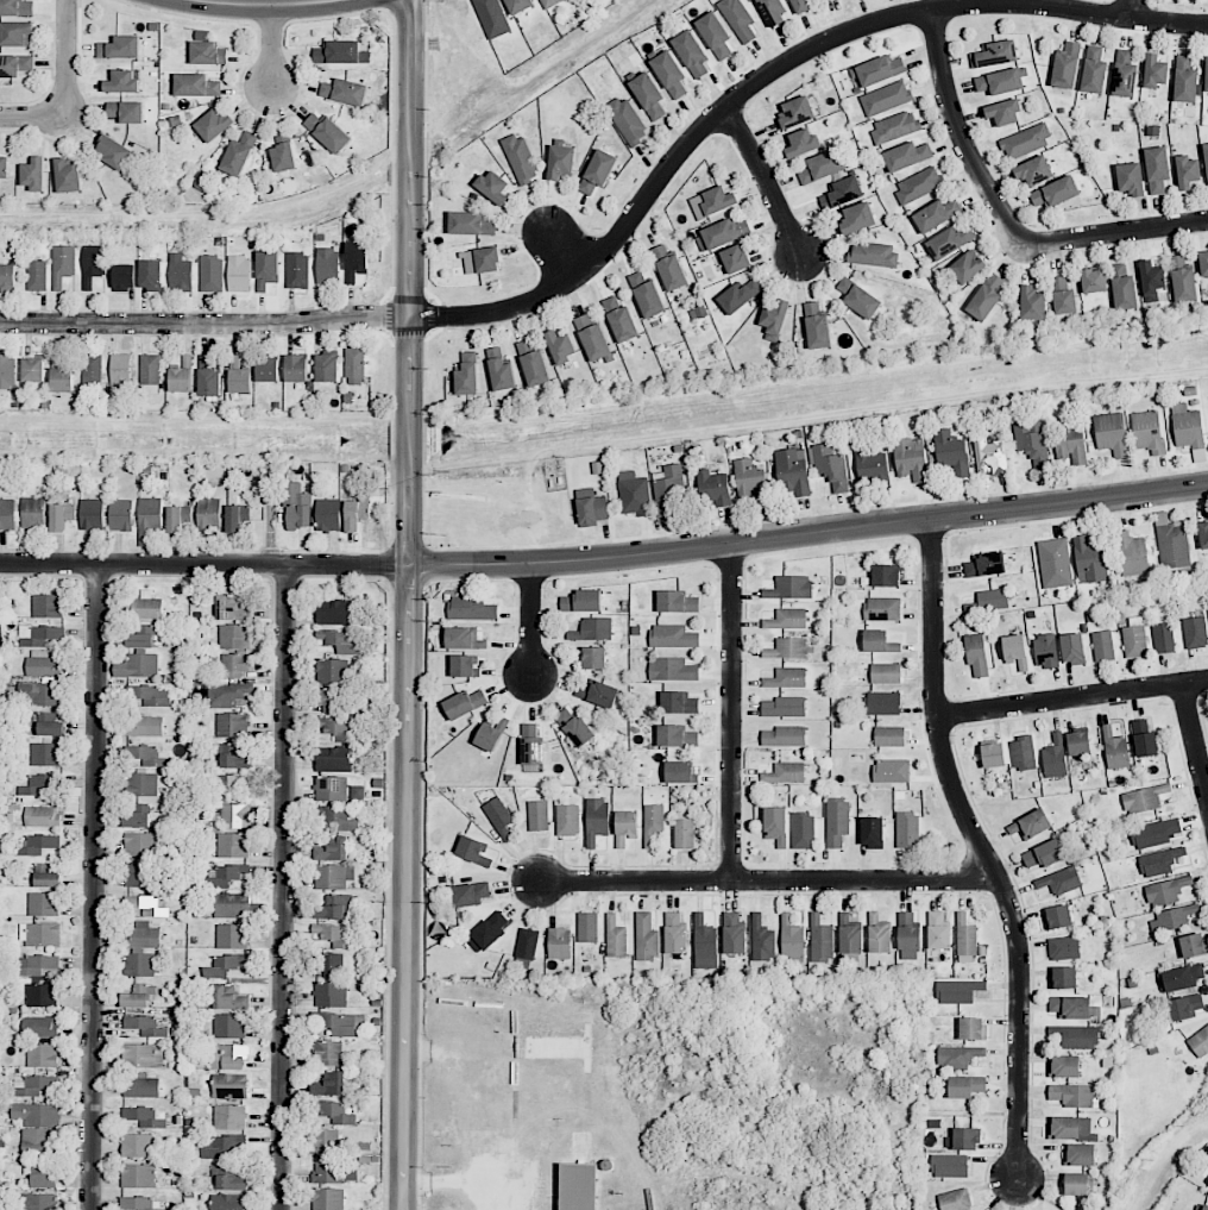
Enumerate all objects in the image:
building: (825, 0)
building: (549, 2)
road: (275, 4)
building: (518, 6)
building: (801, 6)
building: (17, 7)
road: (264, 8)
road: (1131, 10)
building: (772, 12)
building: (492, 18)
building: (738, 19)
building: (15, 33)
building: (715, 35)
building: (120, 48)
building: (207, 50)
building: (340, 52)
building: (692, 54)
building: (995, 54)
road: (273, 56)
building: (14, 65)
building: (1065, 65)
building: (880, 70)
building: (1094, 70)
building: (1154, 70)
building: (669, 74)
building: (1124, 74)
building: (1206, 74)
building: (1184, 79)
building: (122, 81)
building: (1000, 81)
building: (196, 86)
road: (68, 90)
building: (345, 92)
building: (648, 95)
building: (886, 98)
building: (126, 111)
building: (797, 112)
building: (1003, 112)
building: (627, 120)
building: (214, 125)
building: (895, 126)
building: (328, 132)
road: (964, 137)
building: (801, 142)
building: (1025, 142)
building: (113, 151)
building: (239, 153)
building: (907, 156)
building: (283, 157)
building: (521, 158)
building: (1206, 161)
building: (561, 162)
building: (820, 167)
building: (4, 168)
building: (1157, 169)
building: (1033, 170)
building: (598, 171)
building: (1187, 171)
building: (34, 174)
building: (68, 176)
road: (770, 178)
building: (1131, 178)
building: (918, 184)
building: (493, 187)
building: (843, 193)
building: (1053, 193)
building: (718, 200)
building: (931, 217)
building: (857, 218)
building: (470, 224)
road: (629, 225)
road: (1119, 233)
building: (721, 234)
building: (951, 240)
road: (564, 253)
building: (873, 253)
building: (735, 258)
building: (356, 259)
building: (480, 261)
building: (1203, 263)
building: (63, 264)
building: (93, 264)
building: (327, 264)
building: (965, 267)
building: (669, 268)
building: (266, 269)
building: (297, 270)
building: (180, 272)
building: (212, 274)
building: (239, 274)
building: (37, 275)
building: (151, 275)
building: (7, 277)
building: (125, 277)
building: (1094, 280)
building: (1151, 280)
building: (1182, 280)
building: (1122, 288)
building: (647, 294)
building: (741, 294)
building: (1064, 296)
building: (986, 297)
building: (858, 299)
building: (1032, 303)
building: (619, 319)
building: (774, 319)
building: (816, 325)
building: (593, 339)
building: (560, 346)
building: (187, 361)
building: (533, 362)
building: (354, 365)
building: (296, 368)
building: (327, 368)
building: (33, 369)
building: (92, 369)
building: (150, 369)
building: (268, 370)
building: (501, 370)
building: (7, 371)
building: (120, 374)
building: (467, 375)
building: (239, 376)
building: (180, 377)
building: (208, 378)
building: (63, 380)
building: (1187, 426)
building: (1147, 431)
building: (1112, 433)
building: (1032, 440)
building: (1069, 443)
building: (951, 452)
building: (990, 454)
building: (910, 460)
building: (831, 466)
building: (872, 466)
building: (792, 472)
building: (750, 481)
building: (713, 487)
building: (669, 491)
building: (634, 494)
building: (297, 507)
building: (591, 507)
building: (33, 512)
building: (208, 513)
building: (357, 513)
building: (7, 514)
building: (92, 514)
building: (328, 514)
building: (61, 515)
building: (120, 515)
building: (237, 516)
building: (180, 518)
building: (149, 519)
road: (810, 531)
building: (1203, 534)
building: (1174, 548)
building: (1132, 553)
building: (1090, 558)
building: (1055, 563)
road: (205, 564)
building: (986, 564)
building: (886, 575)
building: (789, 588)
building: (583, 601)
building: (989, 601)
building: (677, 602)
road: (410, 604)
building: (48, 606)
building: (144, 607)
building: (471, 608)
building: (882, 608)
building: (233, 609)
building: (335, 613)
road: (529, 617)
building: (787, 619)
building: (593, 629)
building: (1195, 632)
building: (39, 635)
building: (141, 637)
building: (234, 637)
building: (673, 637)
building: (464, 638)
building: (1163, 638)
building: (339, 641)
building: (879, 641)
building: (1134, 641)
building: (1102, 646)
building: (787, 648)
building: (1072, 648)
building: (1015, 651)
building: (1046, 651)
building: (976, 656)
building: (593, 658)
building: (42, 664)
building: (235, 665)
building: (464, 665)
building: (138, 666)
building: (672, 669)
building: (333, 671)
building: (885, 673)
building: (787, 678)
road: (1070, 686)
building: (39, 694)
building: (226, 694)
building: (598, 694)
building: (151, 696)
building: (327, 700)
building: (465, 702)
building: (679, 703)
building: (882, 703)
road: (731, 706)
building: (785, 707)
building: (50, 725)
building: (232, 725)
building: (146, 726)
building: (574, 727)
building: (335, 729)
building: (487, 736)
building: (677, 736)
building: (784, 736)
building: (889, 736)
building: (1144, 736)
road: (1193, 740)
building: (1078, 742)
building: (531, 744)
building: (1115, 748)
building: (45, 753)
building: (1023, 753)
building: (993, 754)
building: (149, 756)
building: (234, 757)
building: (1055, 757)
building: (333, 759)
building: (892, 770)
building: (680, 772)
building: (785, 772)
building: (39, 784)
building: (143, 784)
building: (229, 785)
building: (331, 788)
building: (1144, 798)
building: (137, 815)
building: (235, 815)
building: (539, 815)
building: (42, 816)
building: (336, 817)
building: (499, 817)
building: (567, 820)
building: (596, 820)
building: (837, 821)
building: (653, 823)
building: (776, 825)
building: (1030, 825)
building: (625, 827)
building: (907, 829)
building: (803, 830)
building: (872, 832)
building: (684, 833)
building: (1154, 833)
road: (980, 842)
building: (140, 844)
building: (37, 845)
building: (233, 845)
building: (333, 848)
building: (473, 849)
building: (1043, 854)
building: (1159, 861)
road: (768, 872)
building: (138, 874)
building: (48, 876)
building: (225, 876)
building: (334, 876)
building: (1059, 880)
road: (95, 886)
road: (283, 888)
building: (1165, 890)
building: (470, 894)
building: (44, 903)
building: (147, 905)
building: (232, 905)
building: (335, 907)
building: (1057, 916)
building: (1171, 919)
building: (587, 927)
building: (938, 930)
building: (487, 932)
building: (734, 932)
building: (40, 934)
building: (675, 934)
building: (849, 934)
building: (144, 935)
building: (334, 935)
building: (879, 935)
building: (232, 936)
building: (908, 936)
building: (616, 938)
building: (646, 938)
building: (792, 938)
building: (762, 940)
building: (820, 940)
building: (965, 940)
building: (559, 942)
building: (704, 942)
building: (527, 943)
building: (1193, 945)
building: (1063, 947)
building: (37, 964)
building: (331, 964)
building: (139, 965)
building: (225, 965)
building: (1063, 977)
building: (1182, 977)
building: (957, 991)
building: (42, 995)
building: (331, 995)
building: (137, 997)
building: (229, 997)
building: (1069, 1007)
building: (1184, 1007)
building: (338, 1023)
building: (39, 1026)
building: (145, 1026)
building: (229, 1026)
building: (973, 1028)
building: (1076, 1036)
building: (1198, 1041)
building: (328, 1052)
building: (42, 1055)
building: (141, 1055)
building: (228, 1057)
building: (958, 1057)
building: (1064, 1066)
building: (329, 1084)
building: (34, 1085)
building: (232, 1085)
building: (141, 1086)
building: (967, 1086)
building: (1074, 1095)
building: (335, 1112)
building: (37, 1115)
building: (229, 1116)
building: (144, 1117)
building: (1070, 1128)
building: (963, 1139)
building: (323, 1141)
building: (36, 1142)
building: (137, 1145)
building: (222, 1146)
building: (1080, 1154)
building: (950, 1165)
building: (335, 1173)
building: (138, 1175)
building: (44, 1180)
building: (229, 1180)
road: (457, 1180)
building: (1077, 1184)
building: (579, 1186)
road: (517, 1196)
building: (327, 1198)
building: (955, 1199)
building: (36, 1202)
building: (228, 1202)
building: (138, 1203)
building: (1201, 1206)

